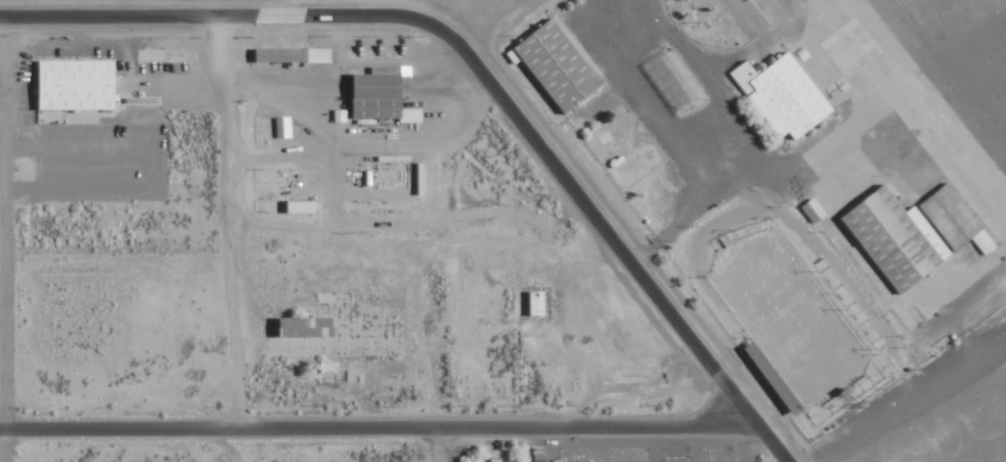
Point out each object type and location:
building: (295, 54)
building: (550, 65)
road: (471, 68)
building: (669, 81)
building: (80, 84)
building: (777, 95)
building: (384, 98)
airport taxiway: (917, 113)
building: (342, 115)
building: (285, 127)
road: (218, 135)
building: (809, 210)
building: (950, 219)
building: (890, 238)
road: (4, 246)
road: (305, 252)
building: (311, 327)
road: (679, 396)
road: (340, 431)
road: (441, 446)
building: (491, 459)

